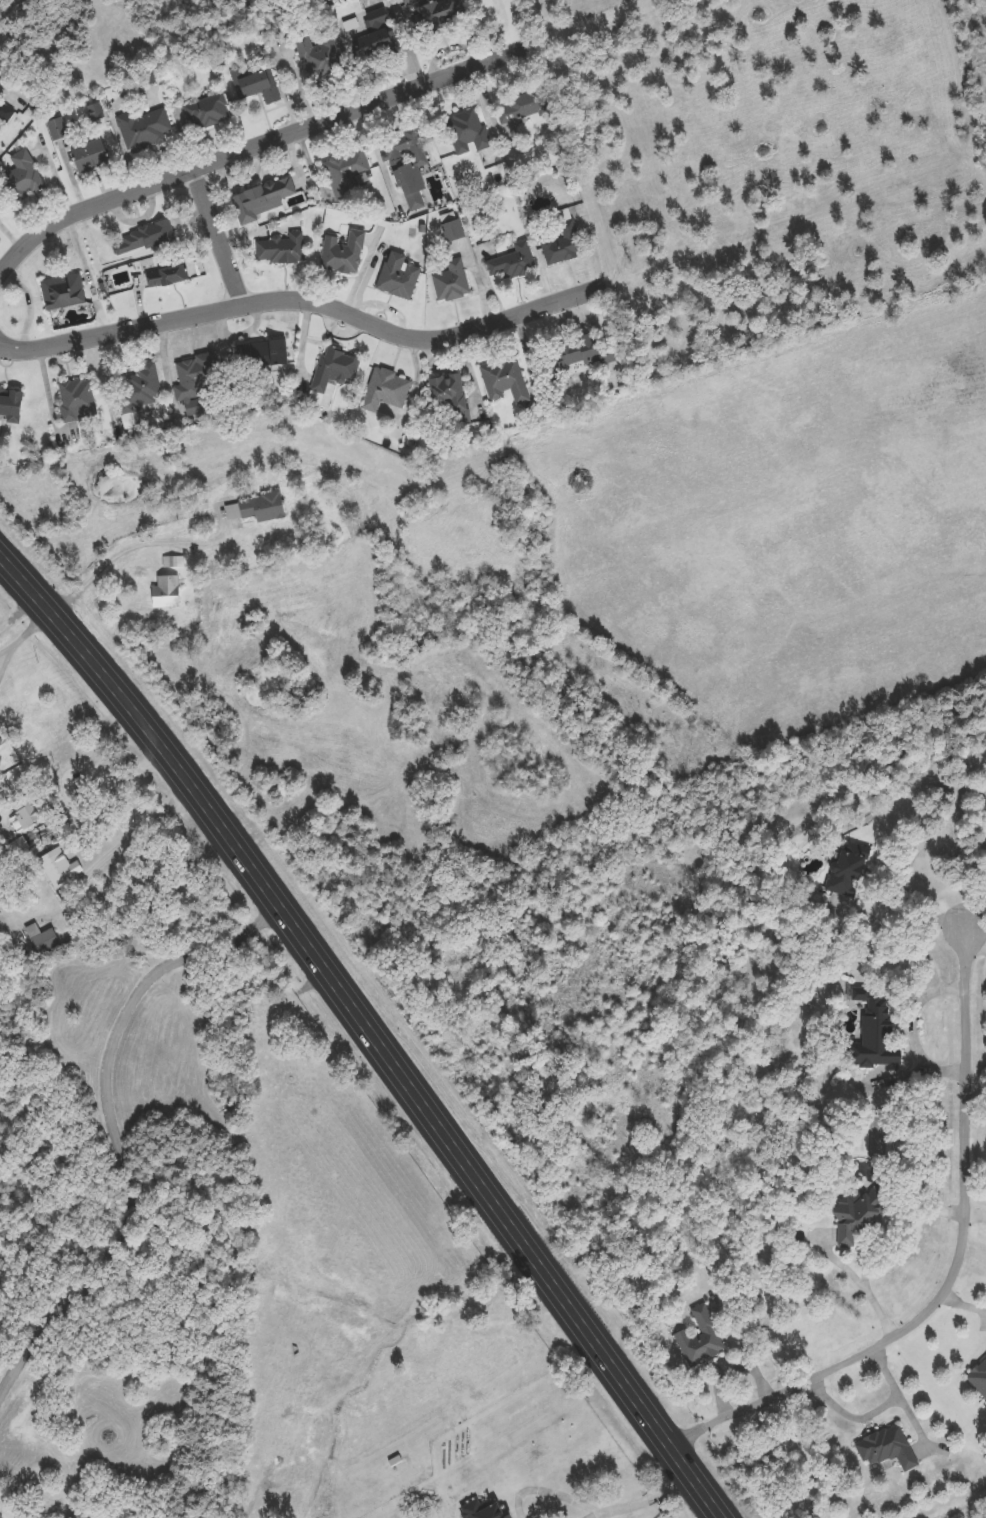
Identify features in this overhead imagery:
road: (14, 8)
building: (439, 11)
road: (563, 34)
building: (375, 38)
building: (320, 58)
building: (260, 87)
building: (522, 106)
building: (6, 113)
building: (208, 114)
building: (58, 129)
building: (145, 131)
building: (468, 132)
road: (255, 144)
building: (90, 157)
building: (409, 166)
building: (348, 174)
building: (23, 176)
building: (263, 199)
building: (453, 228)
road: (220, 235)
building: (144, 240)
building: (564, 245)
building: (281, 250)
building: (344, 254)
building: (515, 263)
building: (169, 276)
building: (399, 277)
building: (453, 282)
building: (64, 292)
road: (304, 293)
building: (263, 355)
building: (578, 355)
building: (197, 375)
building: (333, 375)
building: (506, 381)
building: (141, 390)
building: (387, 390)
building: (451, 397)
building: (78, 400)
building: (10, 406)
building: (195, 508)
building: (257, 509)
road: (116, 559)
building: (174, 563)
building: (167, 592)
road: (30, 626)
road: (6, 648)
road: (6, 658)
building: (1, 745)
building: (26, 818)
road: (125, 844)
building: (61, 867)
building: (849, 870)
road: (915, 915)
road: (977, 937)
building: (46, 942)
road: (915, 1026)
road: (370, 1029)
building: (876, 1034)
road: (115, 1131)
road: (976, 1215)
building: (857, 1216)
road: (875, 1243)
road: (957, 1270)
building: (702, 1339)
building: (979, 1379)
building: (887, 1449)
road: (551, 1493)
road: (649, 1500)
building: (484, 1511)
road: (597, 1516)

